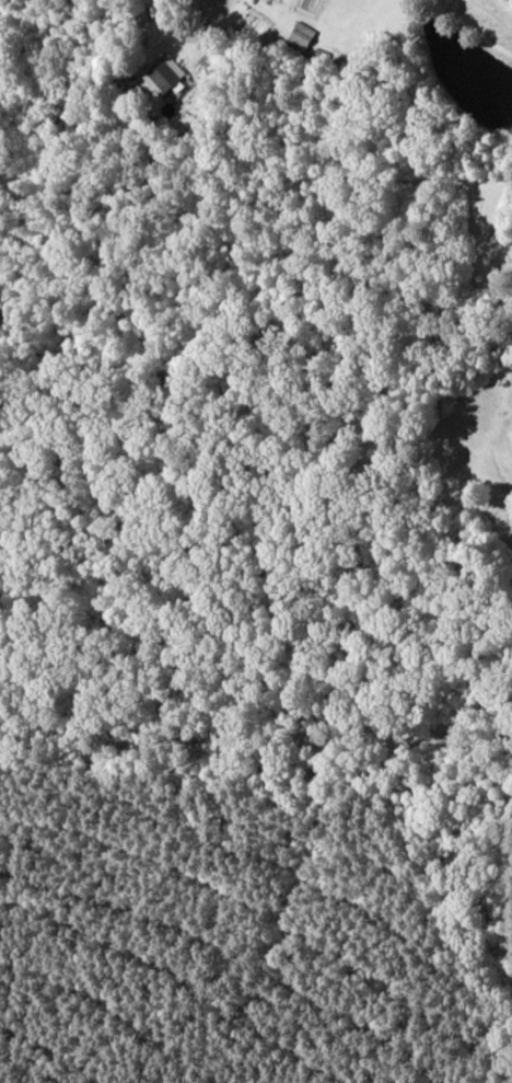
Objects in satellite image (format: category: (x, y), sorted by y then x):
building: (302, 36)
building: (166, 76)

